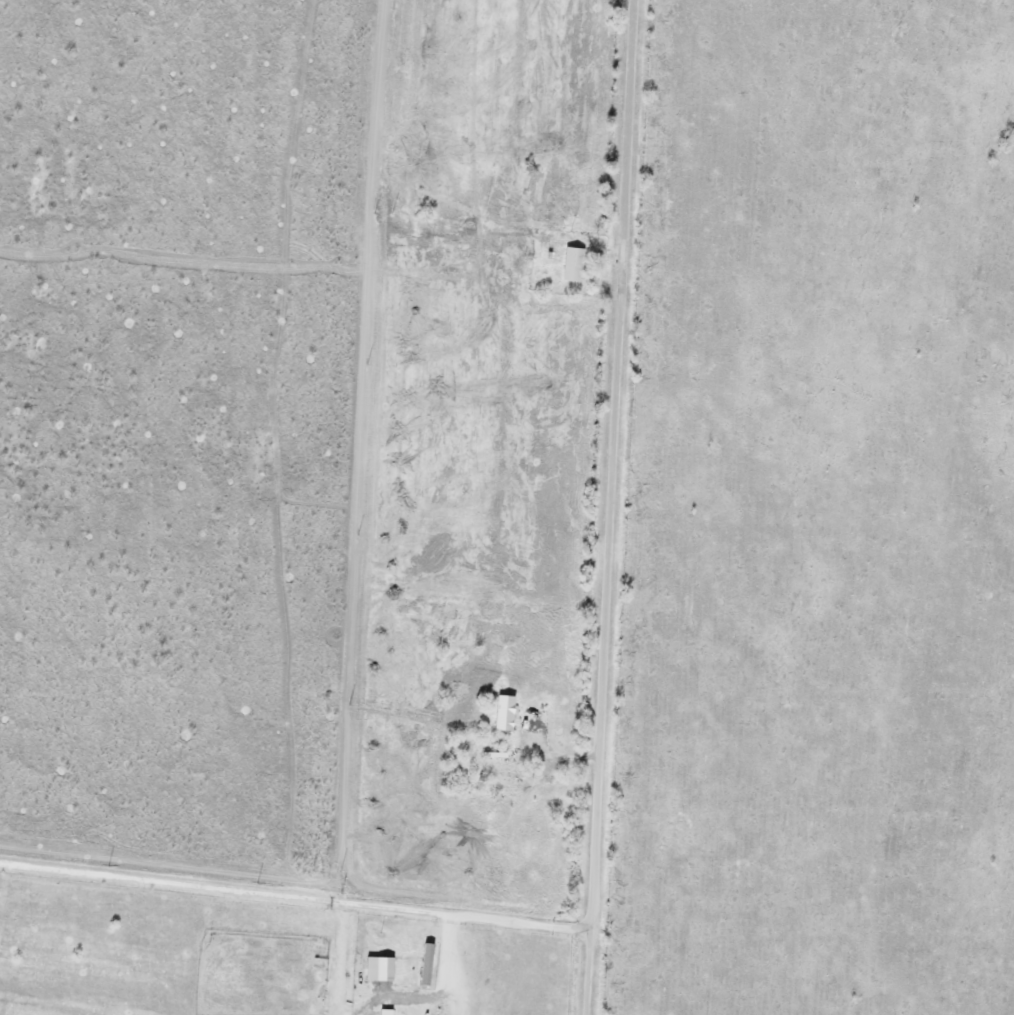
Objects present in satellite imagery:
building: (570, 264)
road: (608, 507)
building: (501, 712)
road: (554, 751)
building: (423, 964)

